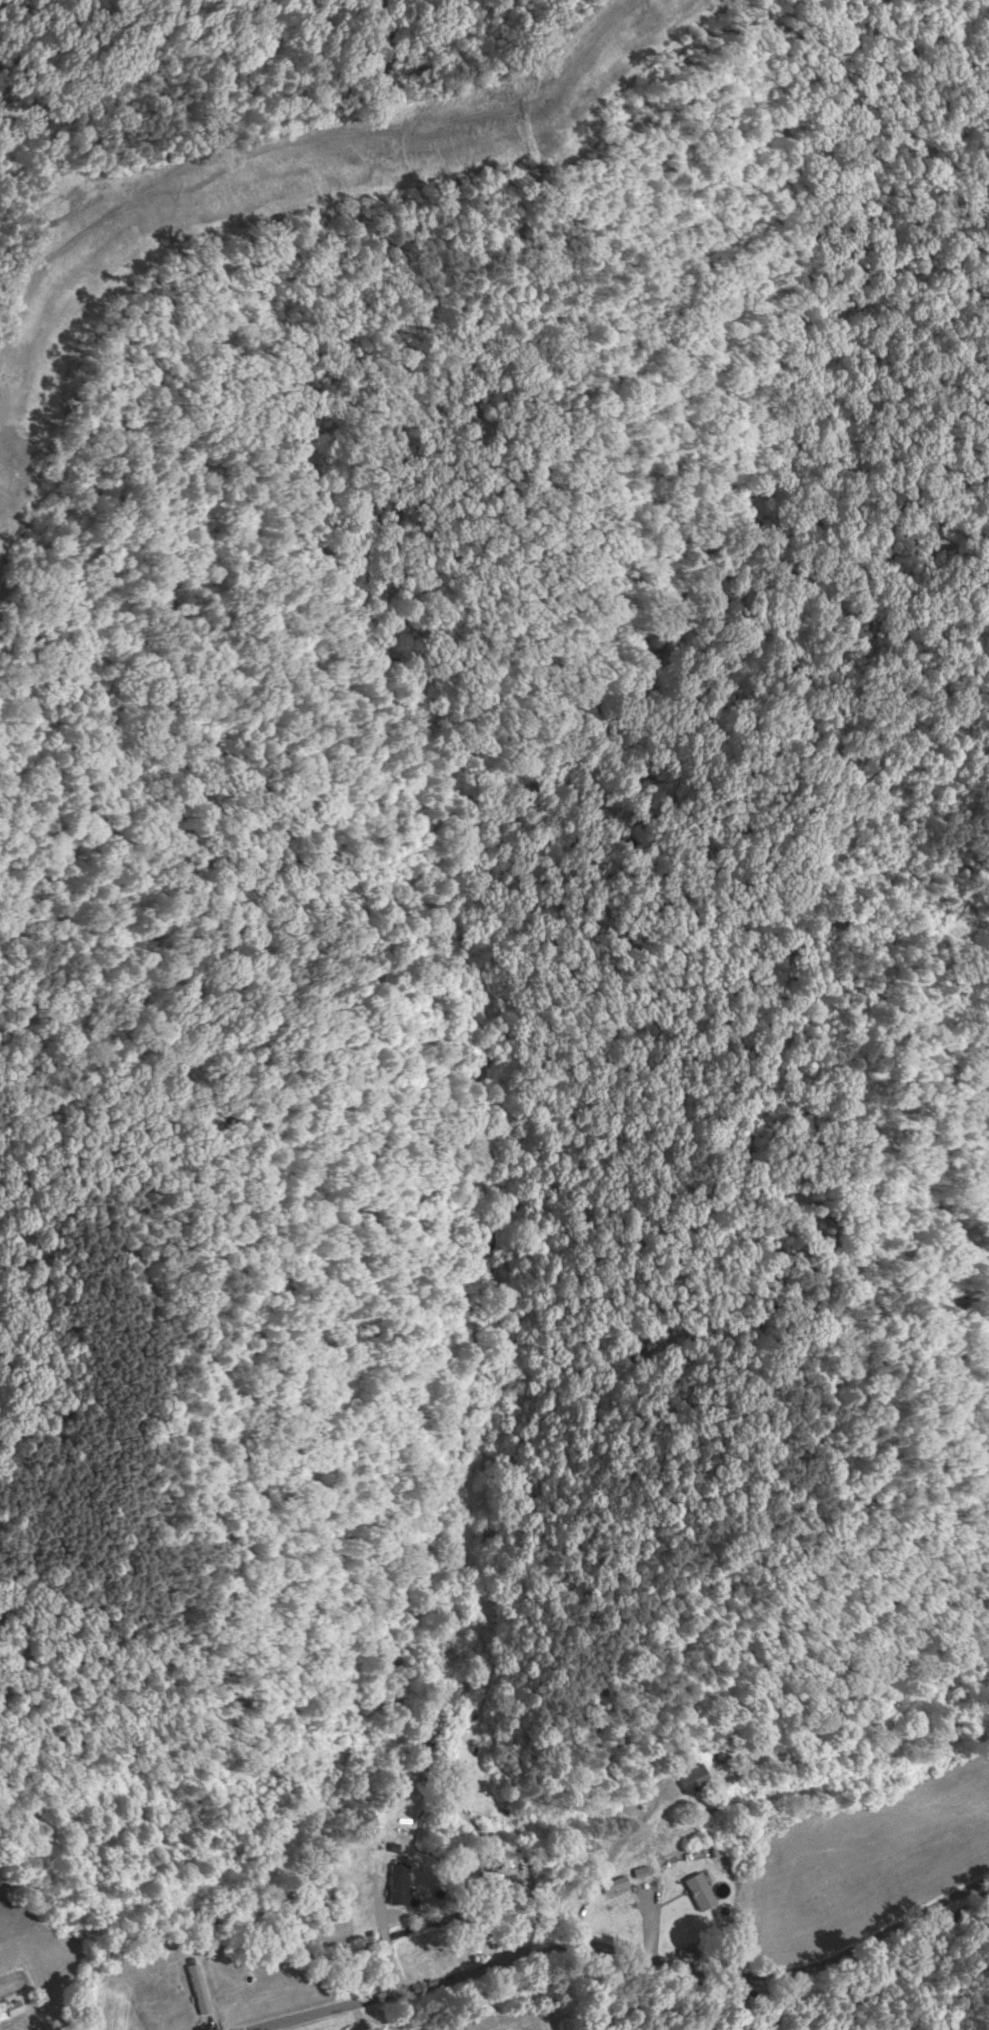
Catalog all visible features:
building: (691, 1778)
building: (491, 1864)
building: (396, 1884)
building: (698, 1891)
road: (626, 1950)
building: (9, 2009)

